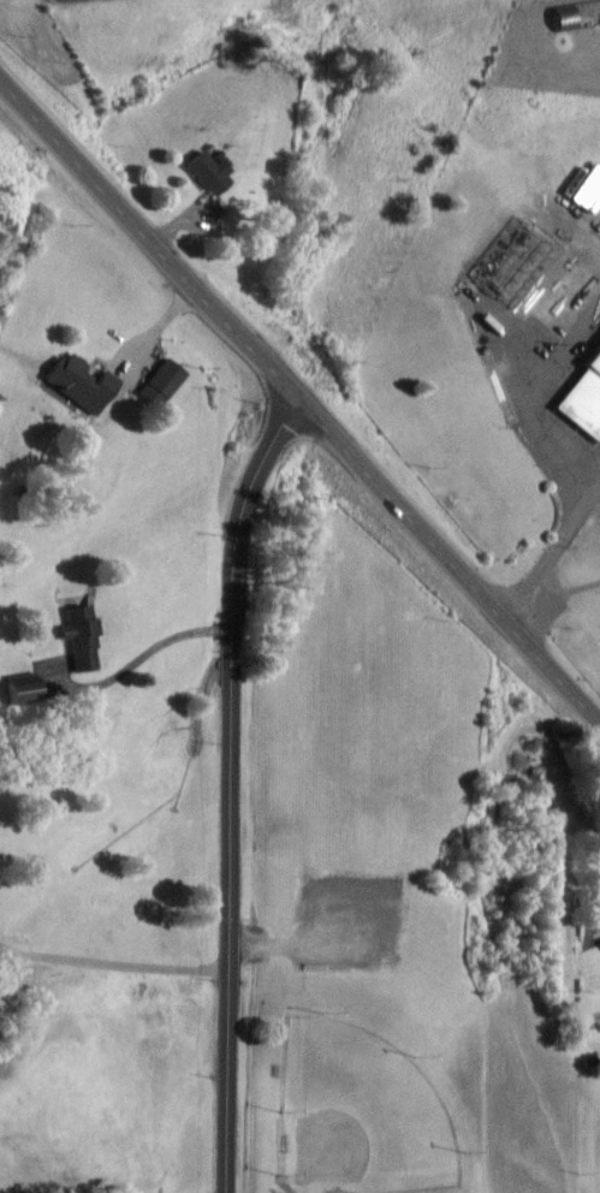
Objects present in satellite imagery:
airport: (548, 46)
building: (213, 173)
building: (513, 262)
building: (85, 381)
building: (166, 382)
road: (527, 391)
building: (581, 398)
road: (299, 403)
road: (548, 547)
building: (84, 634)
road: (228, 788)
building: (599, 921)
road: (112, 962)
park: (366, 1105)
stadium: (360, 1114)
park: (596, 1151)

